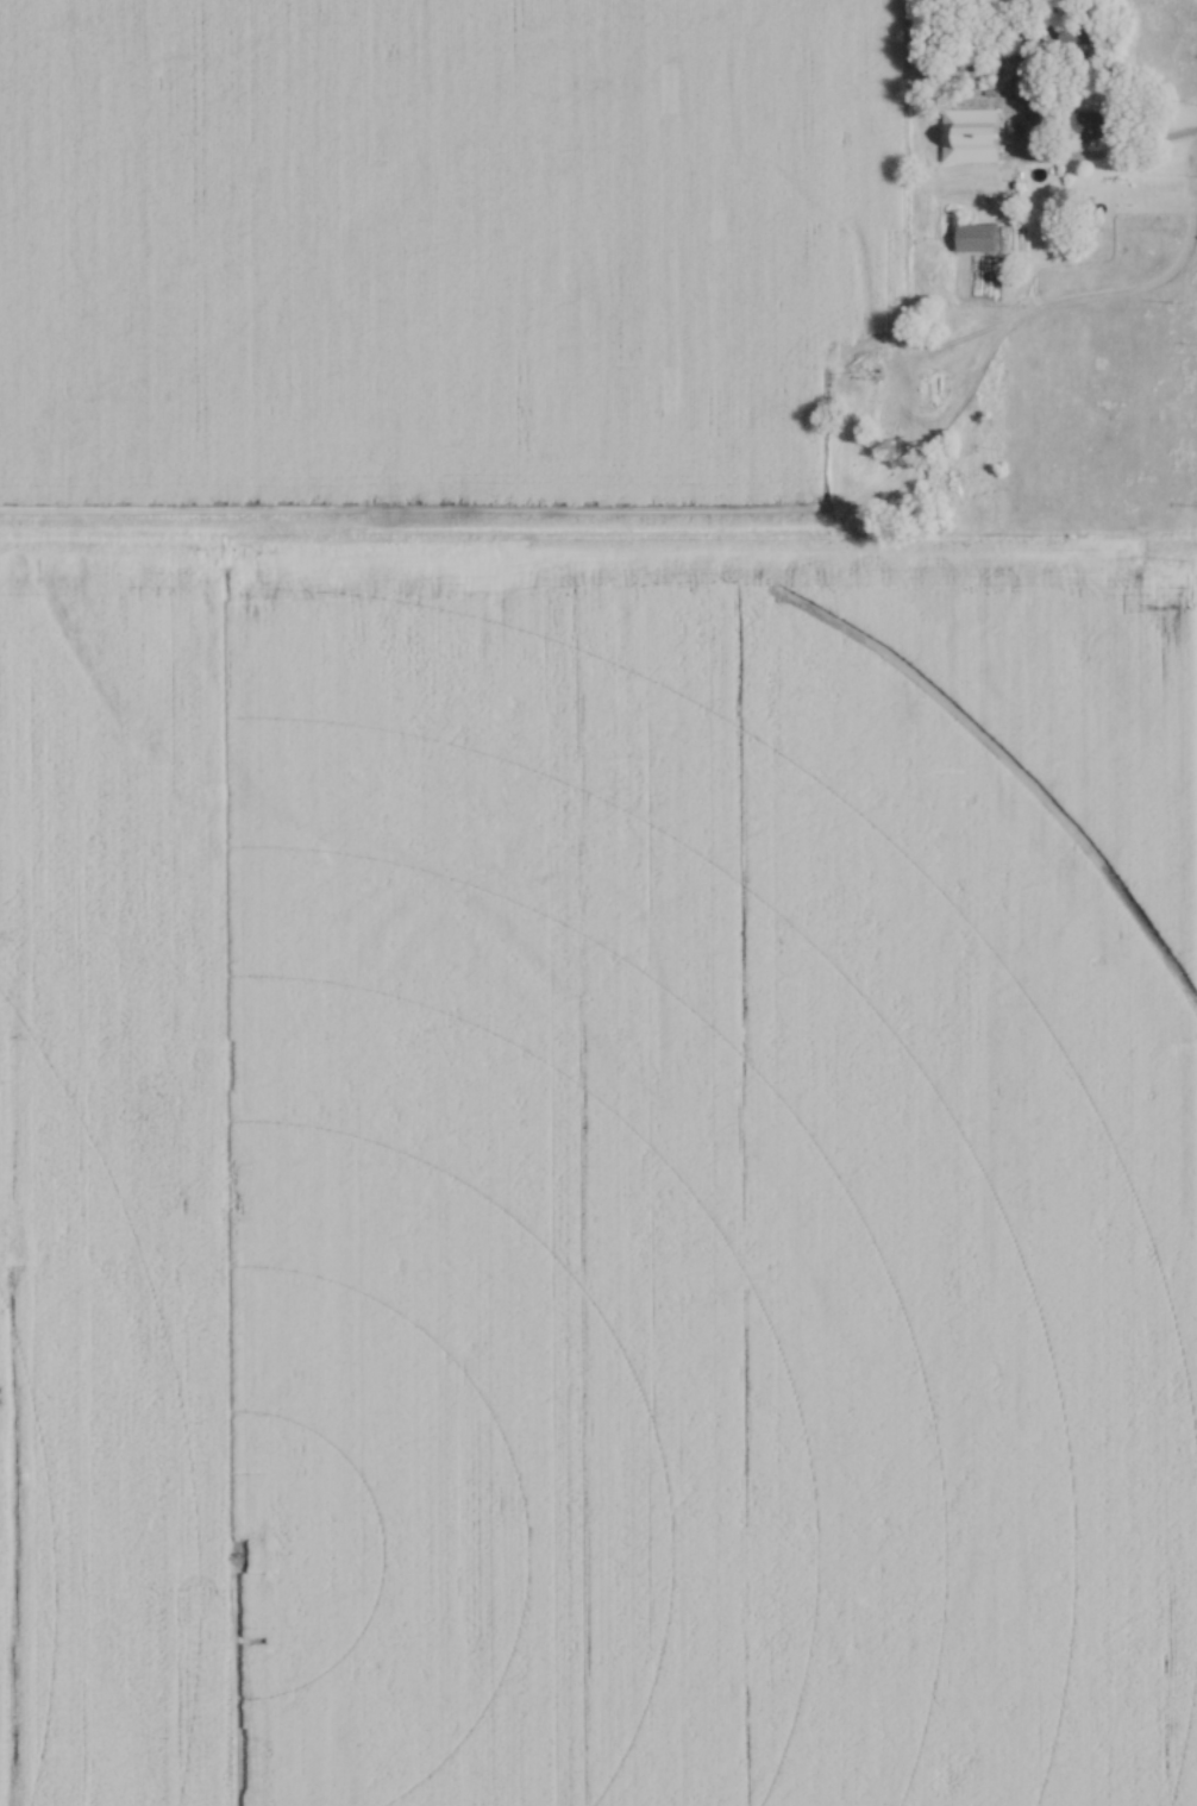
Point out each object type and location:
building: (1030, 29)
building: (1093, 123)
building: (970, 134)
road: (1158, 134)
building: (974, 238)
building: (928, 390)
building: (883, 415)

